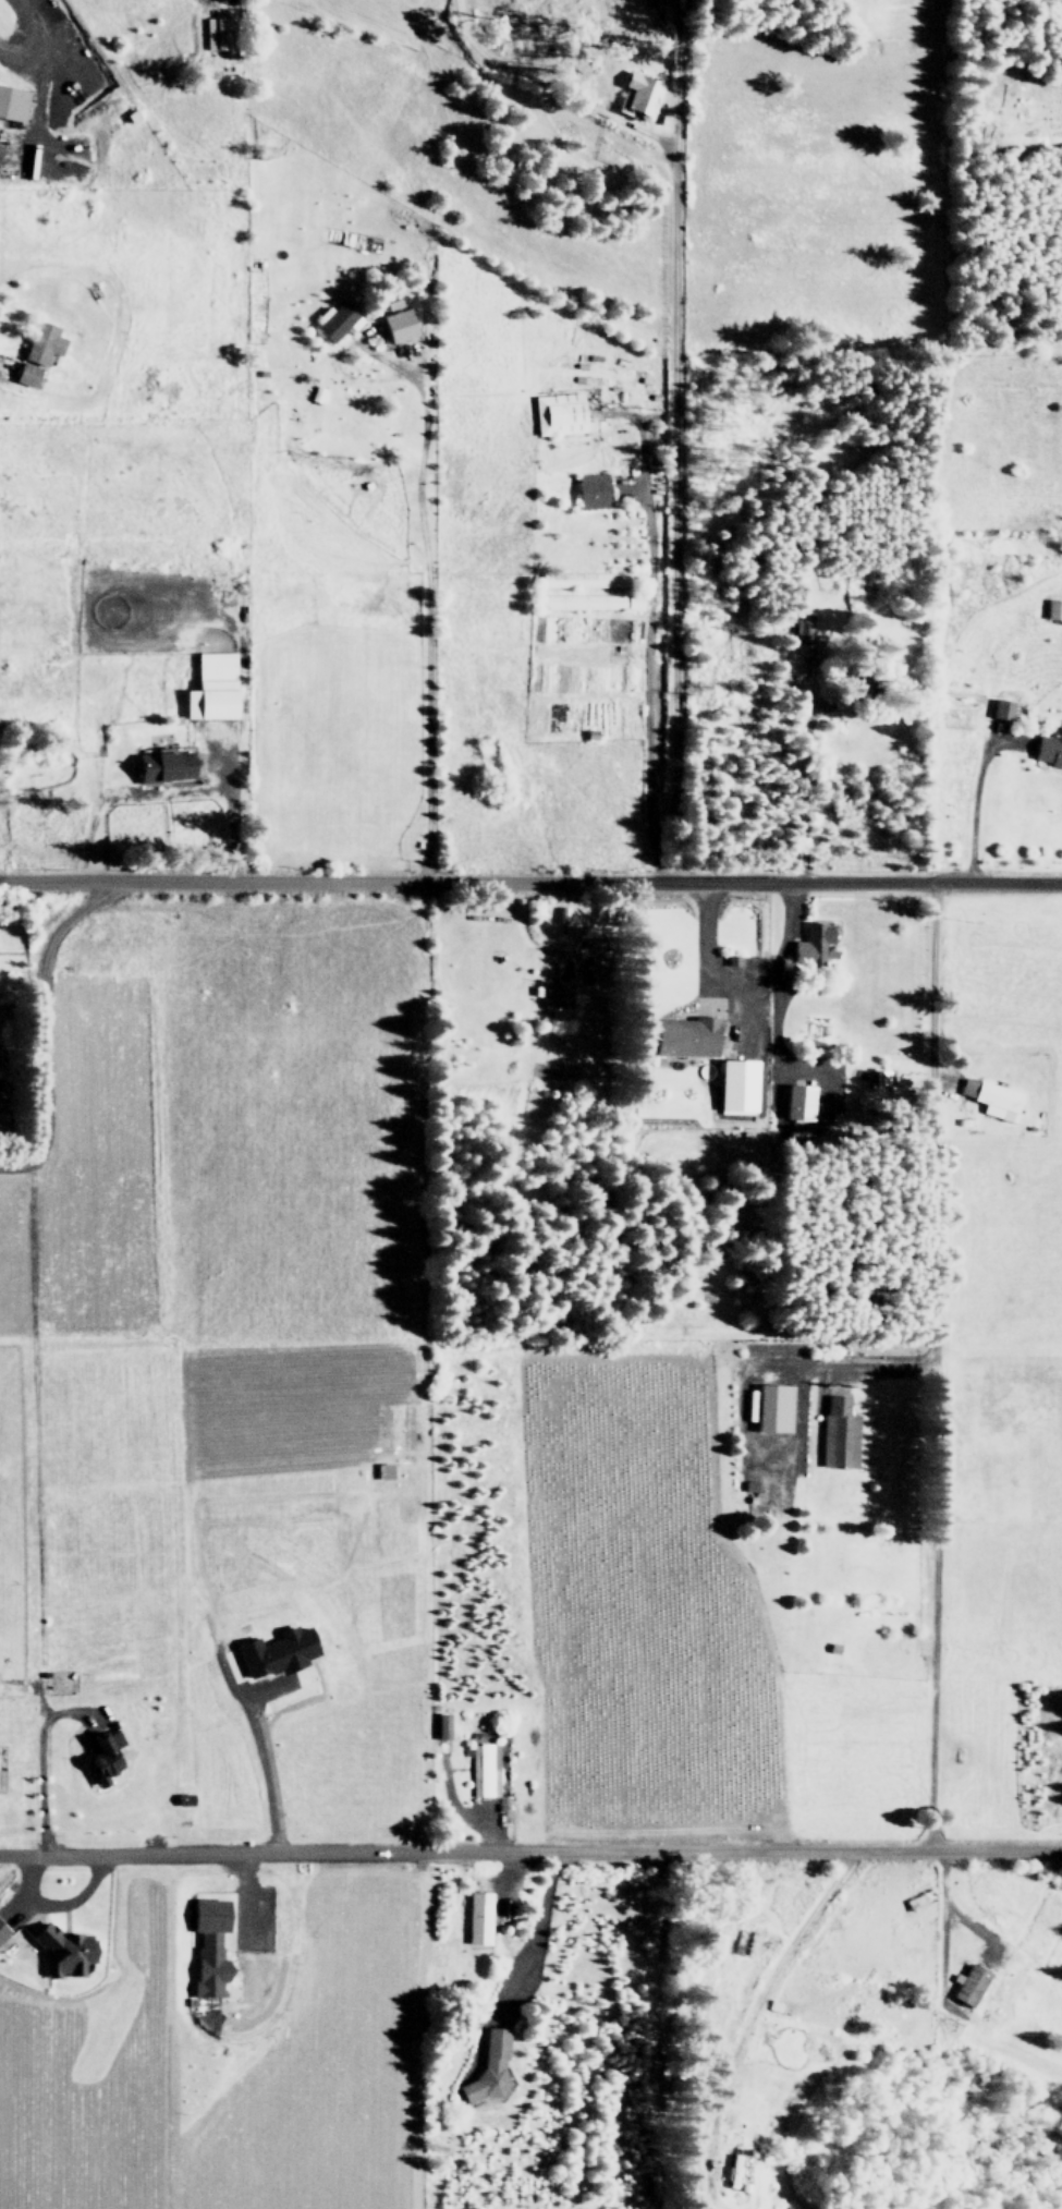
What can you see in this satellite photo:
building: (219, 33)
building: (635, 95)
building: (13, 102)
building: (338, 320)
building: (400, 325)
building: (39, 352)
building: (557, 414)
building: (588, 490)
road: (672, 497)
building: (552, 581)
building: (614, 602)
building: (574, 603)
building: (1050, 608)
building: (799, 629)
building: (213, 688)
building: (997, 709)
building: (1047, 749)
building: (168, 765)
road: (530, 879)
road: (707, 945)
building: (811, 948)
building: (552, 996)
road: (773, 1000)
road: (40, 1016)
building: (681, 1036)
building: (2, 1075)
building: (731, 1087)
building: (990, 1099)
building: (793, 1102)
road: (932, 1108)
building: (769, 1408)
building: (835, 1433)
building: (279, 1651)
building: (443, 1725)
building: (106, 1757)
building: (484, 1769)
road: (261, 1770)
road: (530, 1850)
building: (478, 1917)
building: (3, 1930)
building: (210, 1944)
building: (66, 1951)
building: (969, 1985)
building: (489, 2068)
building: (732, 2170)

